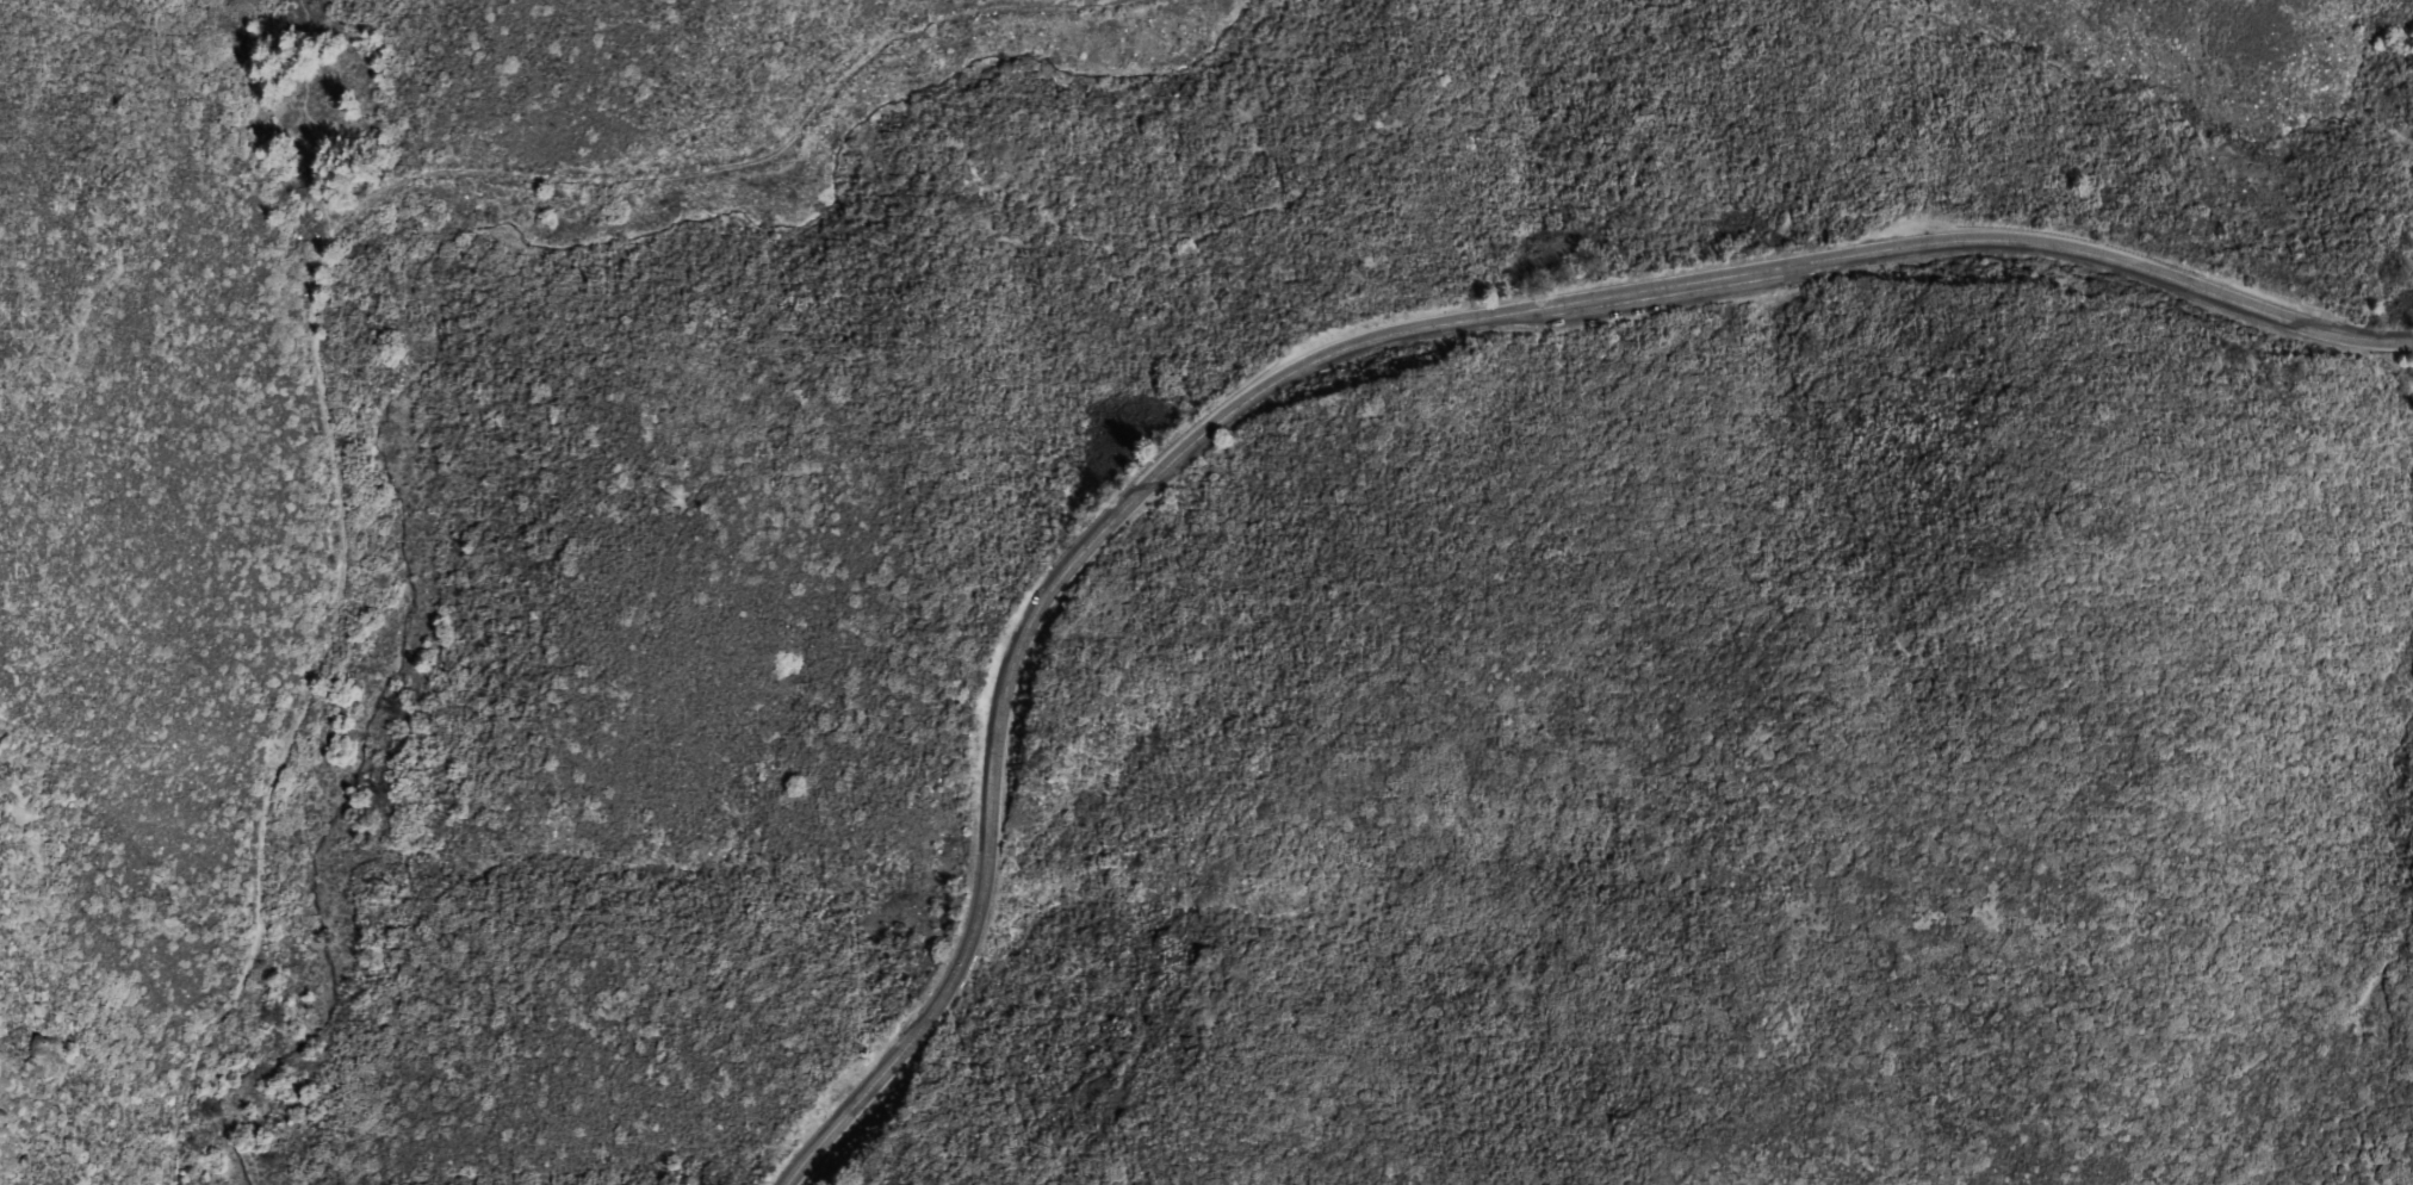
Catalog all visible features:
road: (305, 118)
road: (316, 290)
road: (1366, 348)

